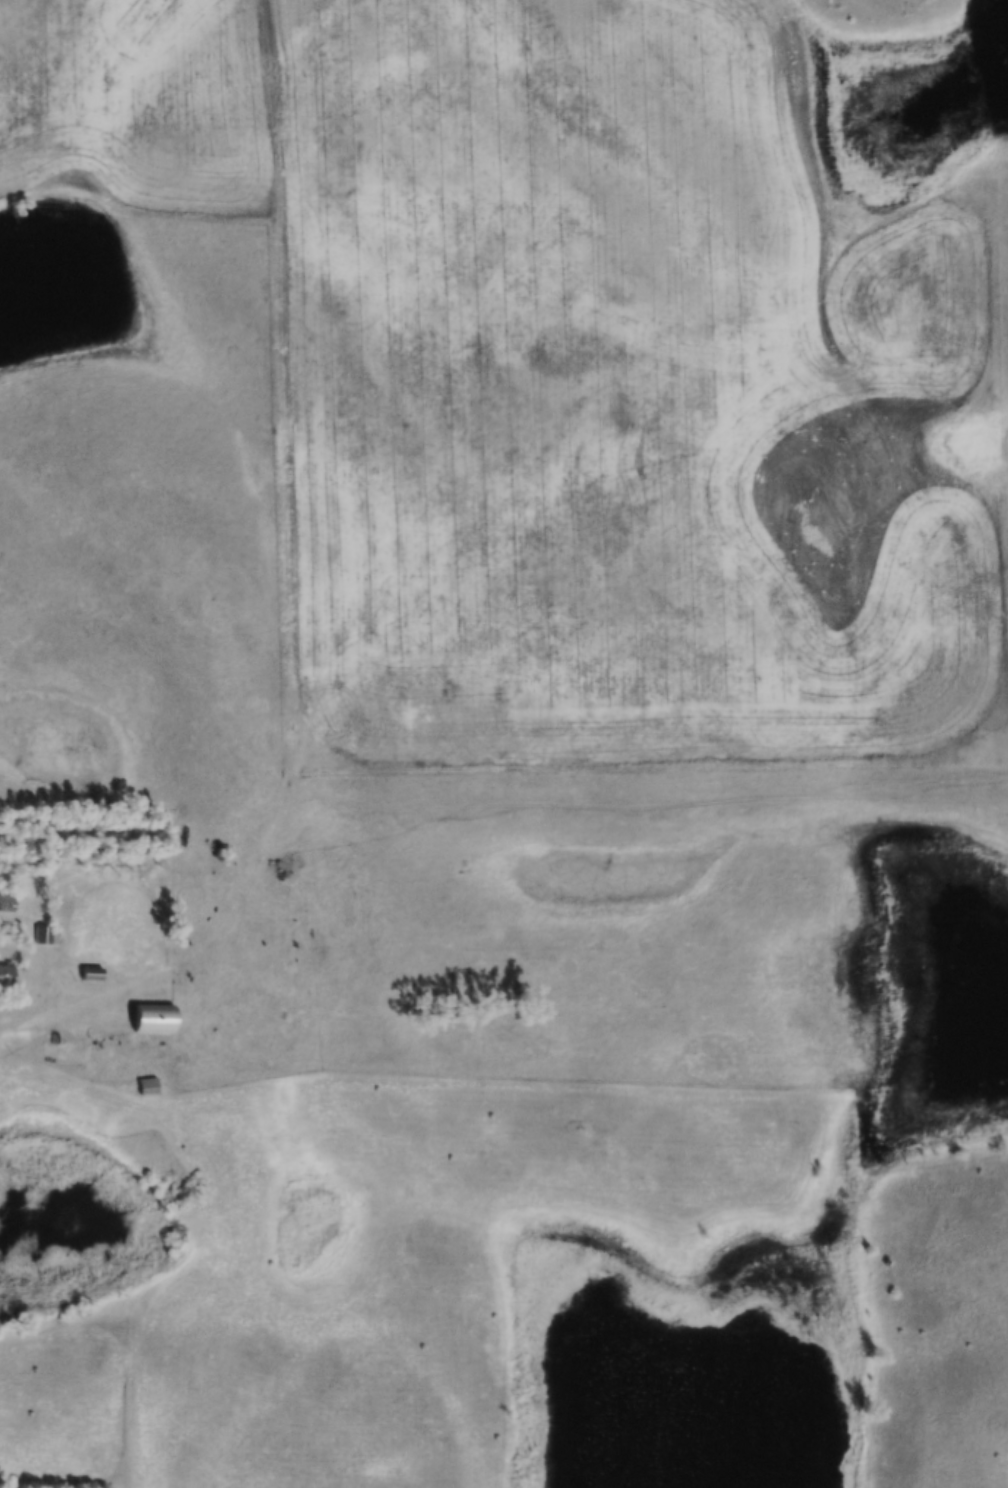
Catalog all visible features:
building: (8, 905)
building: (46, 937)
building: (92, 975)
building: (7, 976)
road: (20, 1019)
building: (156, 1019)
building: (147, 1087)

